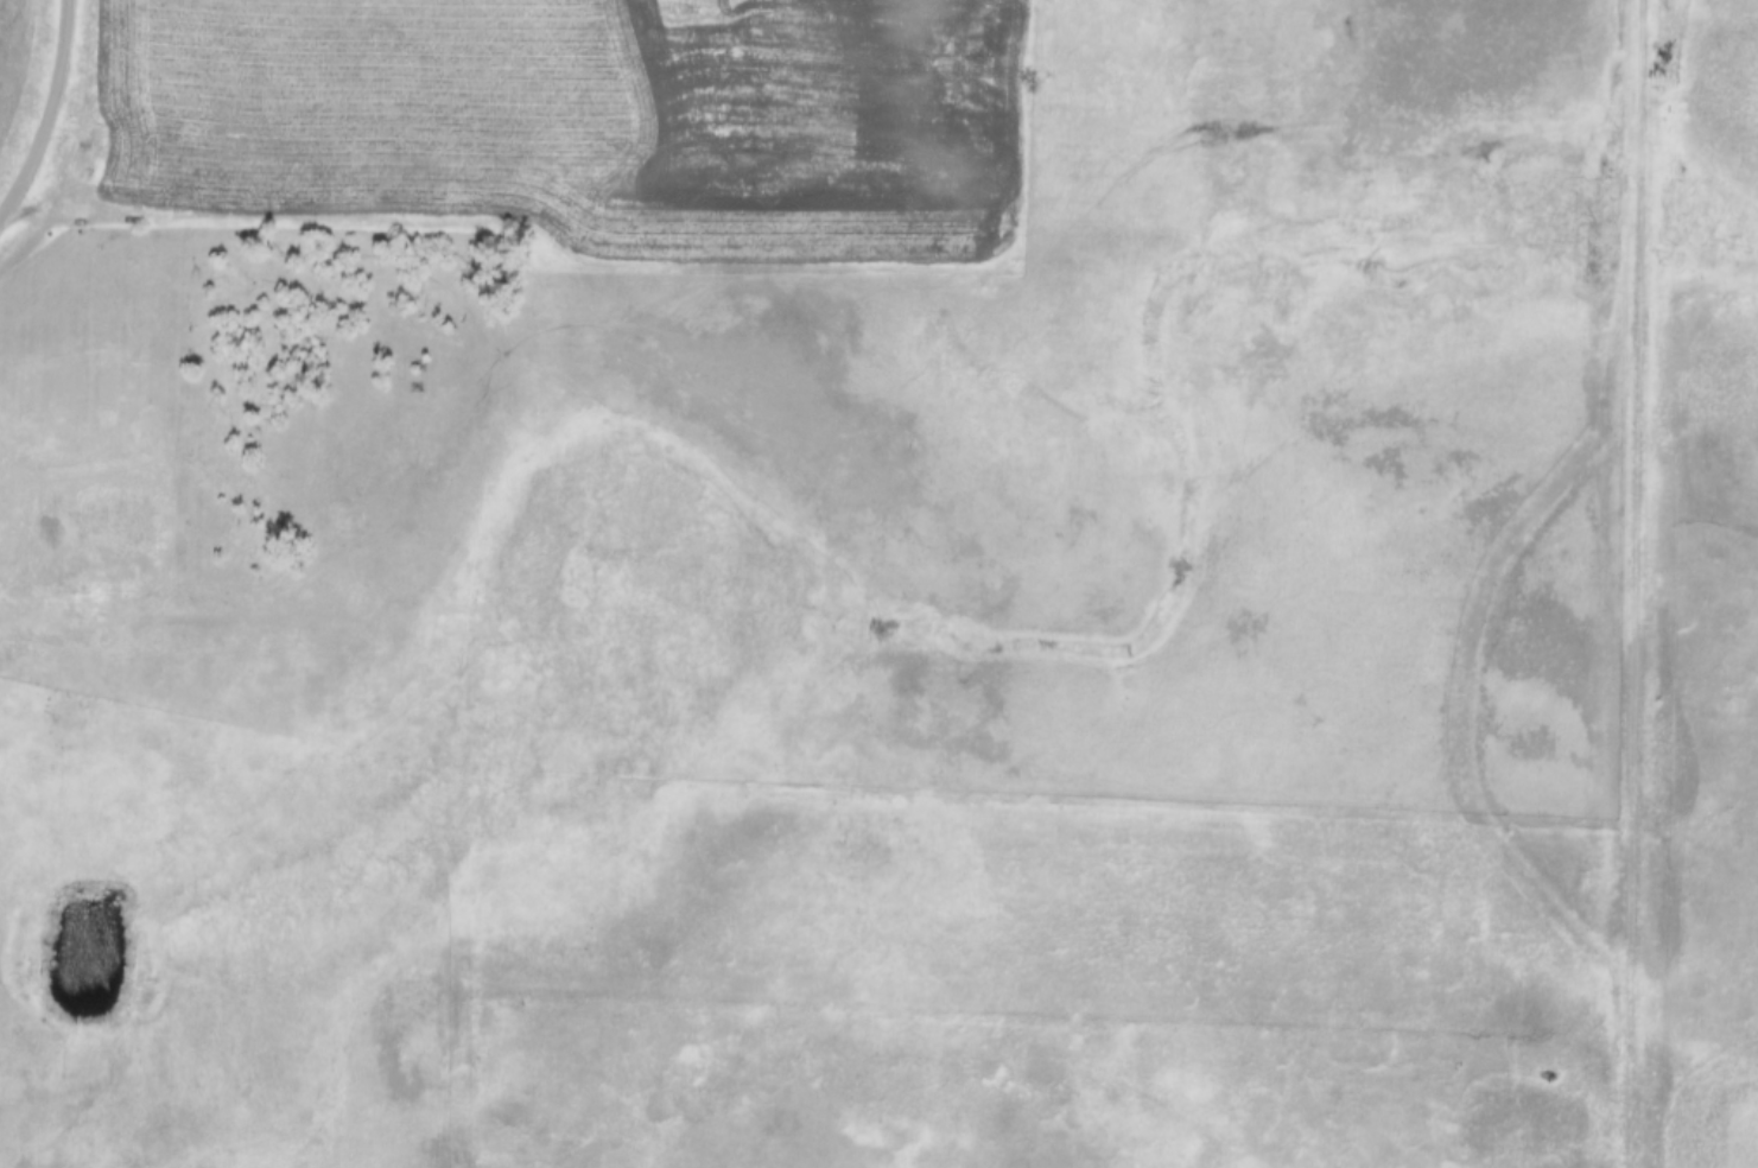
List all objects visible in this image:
road: (52, 116)
road: (1636, 583)

